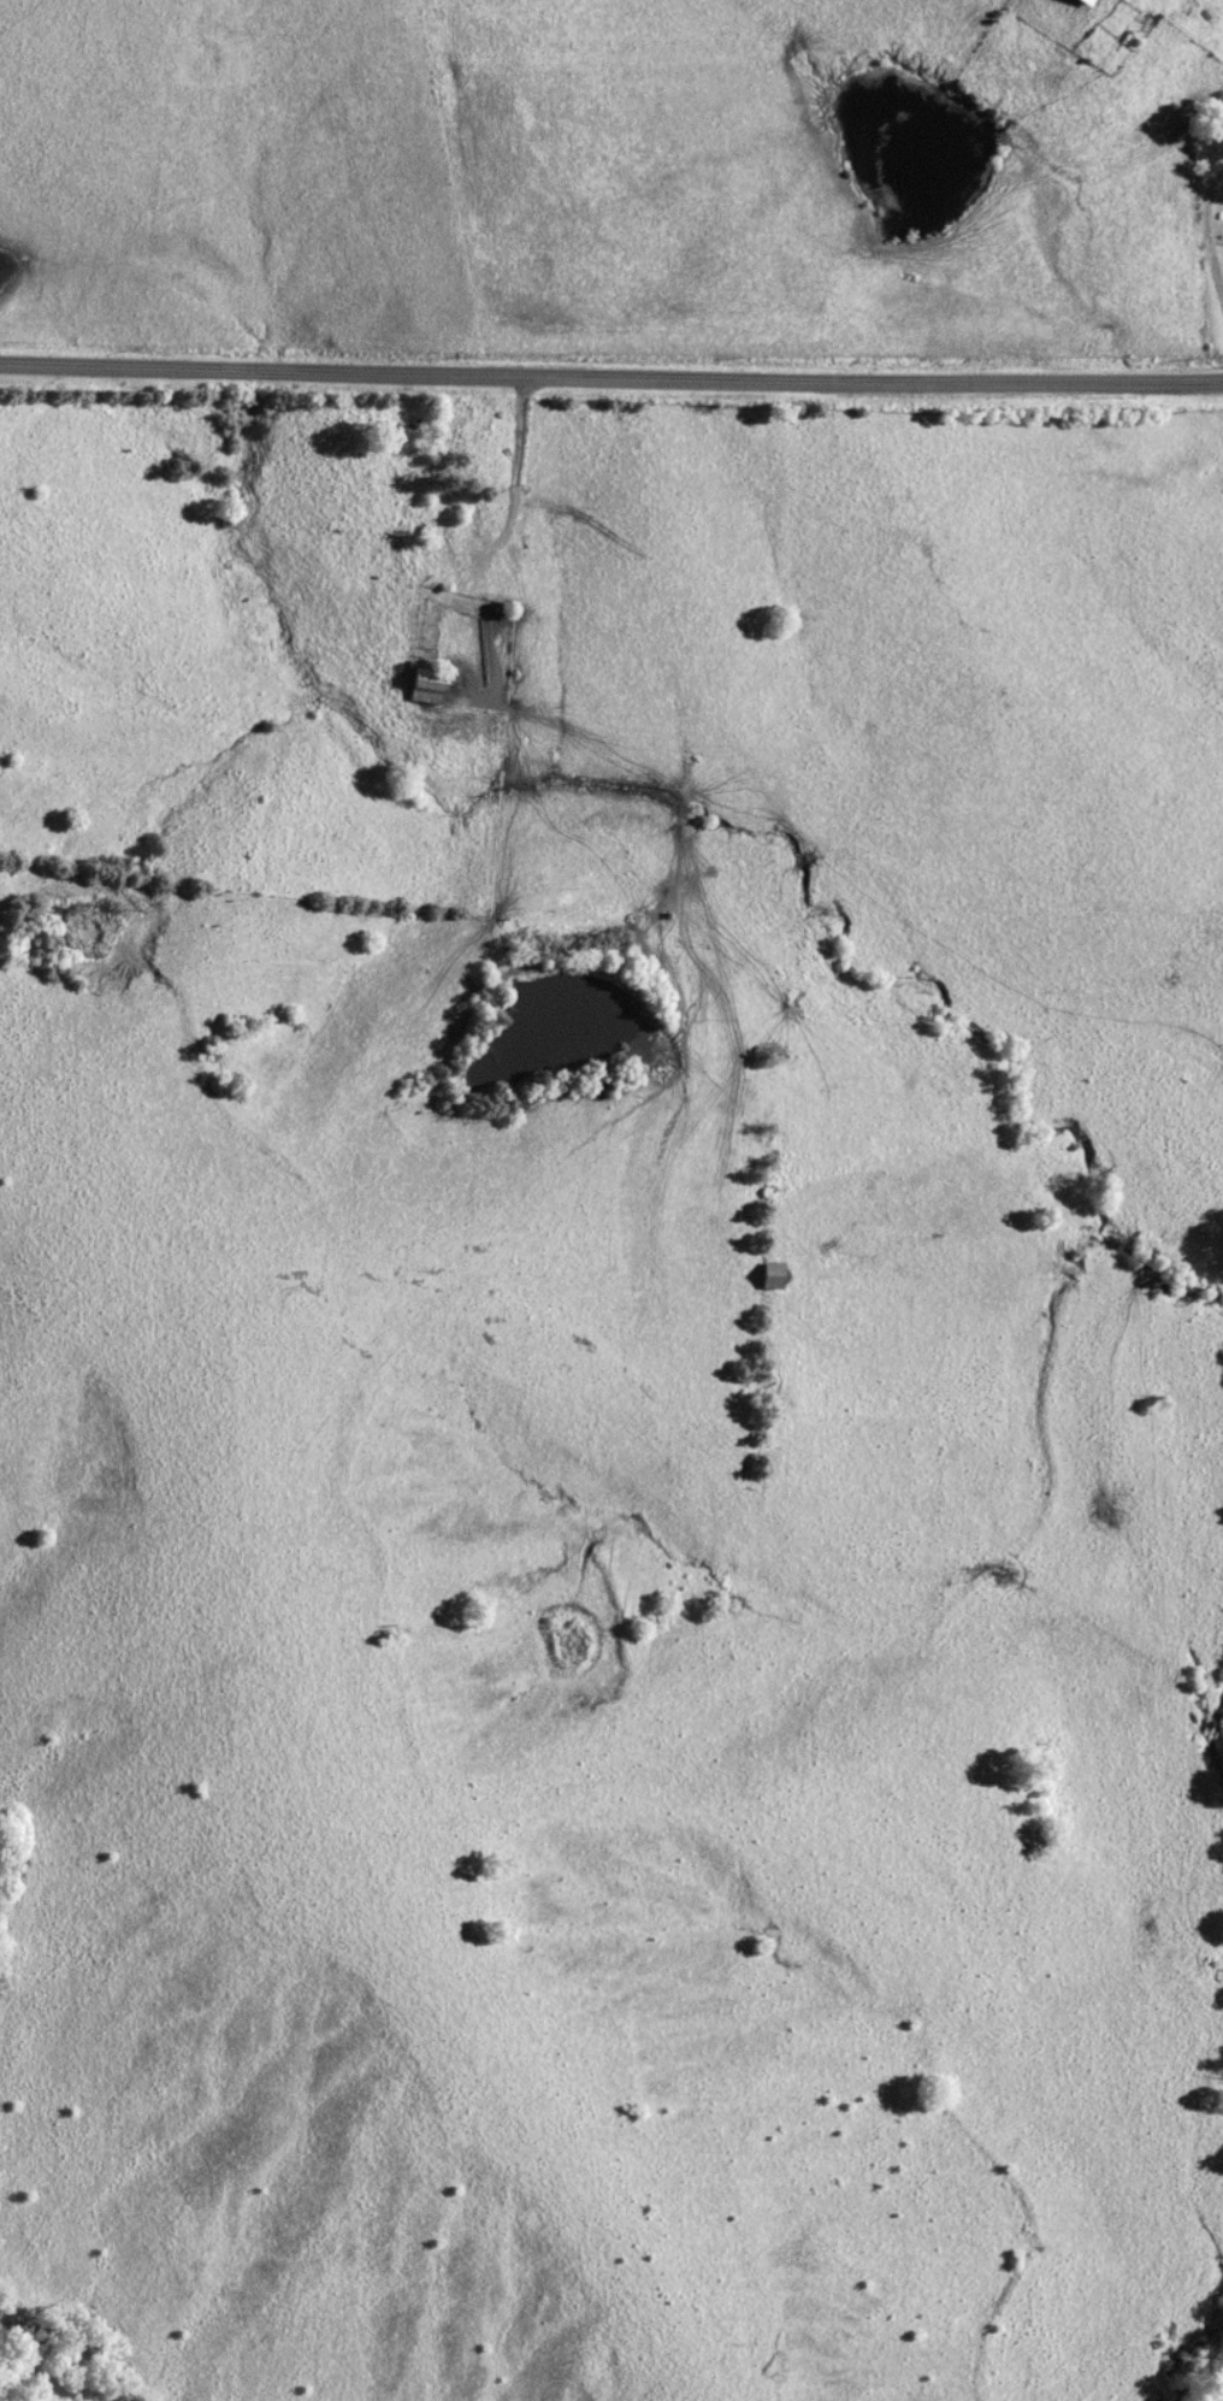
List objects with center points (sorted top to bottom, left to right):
building: (1086, 2)
road: (1206, 235)
road: (610, 383)
road: (502, 526)
building: (426, 686)
building: (773, 1275)

